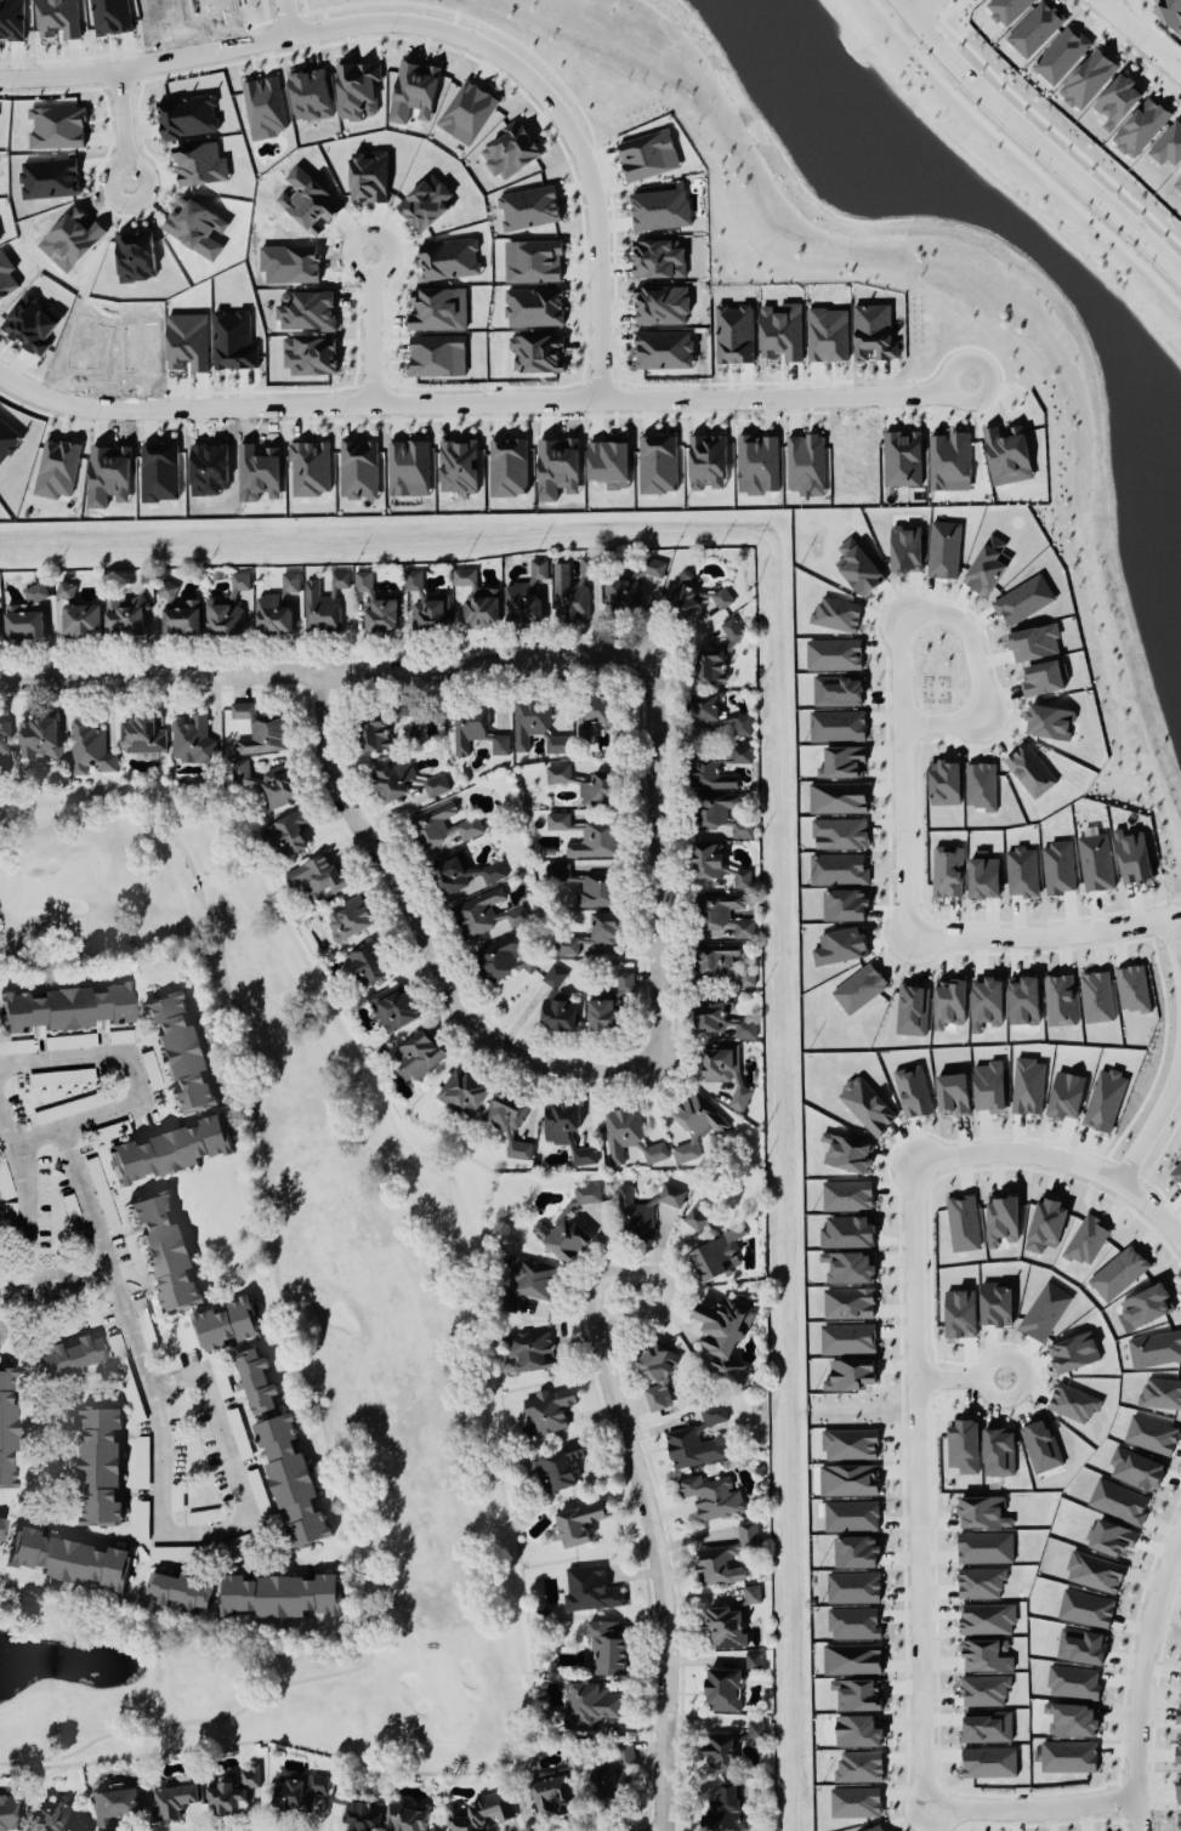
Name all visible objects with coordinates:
road: (893, 0)
road: (1095, 0)
road: (1096, 0)
building: (1006, 8)
building: (1169, 11)
road: (278, 17)
building: (1035, 27)
road: (433, 34)
road: (1139, 39)
building: (1061, 53)
building: (1086, 73)
building: (358, 84)
building: (414, 89)
building: (310, 90)
building: (1118, 98)
building: (265, 104)
building: (467, 109)
road: (121, 124)
building: (1140, 125)
road: (1035, 137)
building: (1169, 143)
building: (505, 147)
building: (648, 153)
building: (368, 175)
building: (1177, 183)
building: (426, 201)
building: (528, 203)
building: (658, 204)
building: (455, 255)
building: (658, 256)
building: (662, 302)
building: (438, 305)
building: (534, 305)
building: (306, 306)
building: (45, 324)
building: (782, 326)
road: (362, 328)
building: (873, 330)
building: (734, 331)
building: (827, 332)
building: (308, 351)
building: (538, 351)
road: (602, 402)
road: (118, 408)
building: (1007, 453)
building: (901, 454)
building: (456, 461)
building: (609, 461)
building: (806, 461)
building: (509, 465)
building: (311, 466)
building: (409, 466)
building: (359, 467)
building: (907, 546)
building: (944, 547)
building: (988, 564)
building: (631, 584)
building: (66, 587)
building: (166, 587)
building: (573, 587)
building: (526, 591)
building: (694, 596)
building: (477, 597)
building: (1023, 598)
building: (323, 601)
building: (376, 603)
building: (426, 603)
building: (277, 604)
building: (227, 605)
building: (25, 610)
building: (125, 613)
building: (81, 616)
building: (182, 618)
road: (960, 622)
building: (1034, 641)
building: (834, 652)
building: (717, 654)
road: (327, 670)
building: (1044, 676)
building: (715, 711)
building: (601, 715)
building: (1049, 720)
building: (535, 722)
building: (384, 723)
building: (475, 726)
building: (414, 728)
building: (260, 729)
building: (142, 732)
building: (39, 737)
building: (192, 737)
building: (4, 744)
building: (89, 744)
building: (742, 751)
building: (844, 760)
building: (1030, 768)
building: (557, 772)
building: (709, 772)
building: (404, 778)
building: (268, 780)
building: (944, 780)
building: (601, 786)
building: (838, 795)
building: (714, 807)
building: (443, 823)
building: (740, 826)
building: (288, 831)
building: (840, 831)
building: (586, 834)
road: (657, 854)
building: (1096, 860)
building: (716, 862)
building: (1058, 865)
building: (838, 866)
building: (947, 869)
building: (461, 870)
building: (1022, 870)
building: (983, 872)
building: (318, 874)
building: (585, 882)
building: (844, 903)
building: (484, 911)
building: (721, 911)
building: (350, 916)
building: (591, 931)
road: (942, 932)
road: (426, 939)
road: (1171, 940)
building: (840, 944)
building: (504, 955)
building: (722, 960)
building: (367, 961)
building: (1132, 986)
building: (1097, 995)
building: (1060, 997)
building: (557, 1000)
building: (949, 1001)
building: (611, 1002)
building: (393, 1005)
building: (67, 1006)
building: (912, 1007)
building: (720, 1014)
building: (121, 1034)
building: (69, 1040)
building: (16, 1045)
building: (180, 1048)
building: (419, 1052)
road: (63, 1058)
building: (725, 1068)
building: (151, 1069)
building: (62, 1075)
road: (135, 1075)
building: (989, 1084)
building: (913, 1088)
building: (462, 1091)
building: (953, 1091)
building: (1105, 1097)
building: (867, 1103)
building: (69, 1105)
road: (1156, 1116)
building: (509, 1120)
road: (76, 1121)
building: (694, 1121)
building: (566, 1127)
building: (112, 1130)
building: (629, 1133)
building: (170, 1148)
building: (1176, 1167)
building: (4, 1178)
road: (24, 1190)
building: (101, 1190)
building: (847, 1193)
building: (69, 1206)
building: (643, 1209)
road: (1154, 1209)
building: (1001, 1213)
building: (964, 1218)
building: (12, 1221)
building: (1046, 1223)
building: (568, 1224)
building: (712, 1243)
building: (165, 1249)
road: (112, 1270)
road: (614, 1272)
building: (528, 1279)
road: (57, 1280)
building: (848, 1301)
building: (995, 1302)
building: (958, 1307)
building: (1045, 1309)
building: (226, 1323)
building: (725, 1332)
building: (846, 1335)
park: (291, 1341)
road: (293, 1347)
building: (533, 1350)
building: (70, 1353)
building: (657, 1369)
building: (850, 1372)
road: (959, 1375)
building: (126, 1376)
road: (172, 1376)
building: (256, 1380)
building: (547, 1408)
building: (6, 1426)
building: (697, 1437)
building: (850, 1442)
road: (221, 1444)
building: (964, 1444)
building: (142, 1458)
building: (100, 1462)
building: (561, 1463)
building: (1136, 1466)
road: (159, 1474)
building: (291, 1478)
building: (848, 1478)
building: (711, 1494)
building: (176, 1495)
building: (1119, 1499)
building: (982, 1509)
building: (205, 1513)
building: (851, 1513)
building: (141, 1517)
building: (580, 1519)
building: (1, 1526)
road: (660, 1530)
road: (203, 1531)
building: (984, 1545)
building: (174, 1549)
building: (856, 1549)
building: (725, 1556)
building: (69, 1558)
building: (1095, 1570)
building: (853, 1585)
building: (590, 1586)
building: (180, 1588)
building: (279, 1593)
building: (1085, 1607)
building: (987, 1616)
building: (728, 1619)
road: (918, 1619)
building: (853, 1620)
building: (607, 1645)
building: (984, 1653)
building: (851, 1655)
building: (753, 1657)
building: (984, 1685)
building: (723, 1687)
building: (589, 1701)
building: (1179, 1707)
building: (1072, 1717)
building: (986, 1723)
building: (755, 1728)
building: (857, 1728)
building: (720, 1750)
building: (1068, 1753)
building: (988, 1758)
building: (612, 1773)
building: (231, 1789)
building: (552, 1790)
building: (299, 1791)
building: (853, 1797)
building: (168, 1799)
building: (113, 1804)
building: (358, 1808)
building: (726, 1808)
building: (10, 1810)
building: (481, 1810)
building: (53, 1814)
road: (1132, 1815)
building: (405, 1816)

